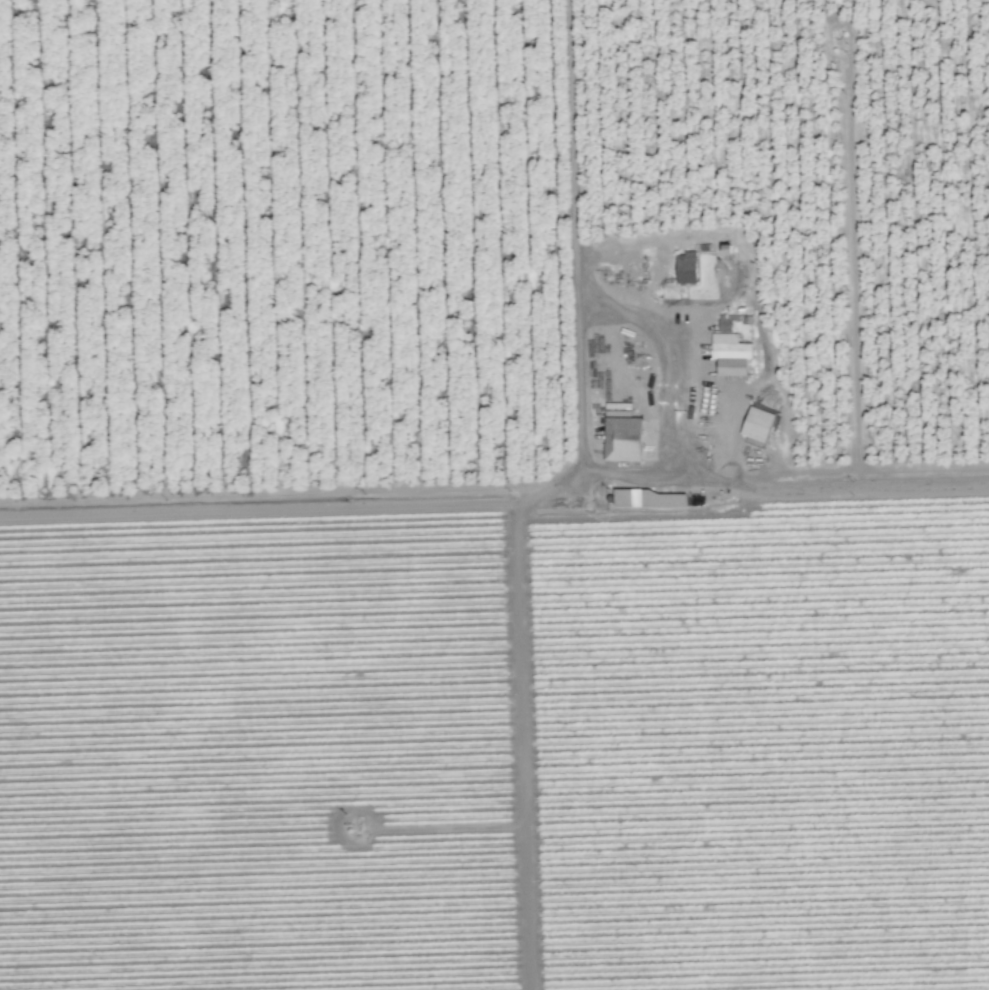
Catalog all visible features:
road: (573, 247)
road: (854, 262)
building: (685, 271)
building: (730, 365)
road: (676, 392)
building: (756, 426)
building: (621, 441)
road: (494, 498)

